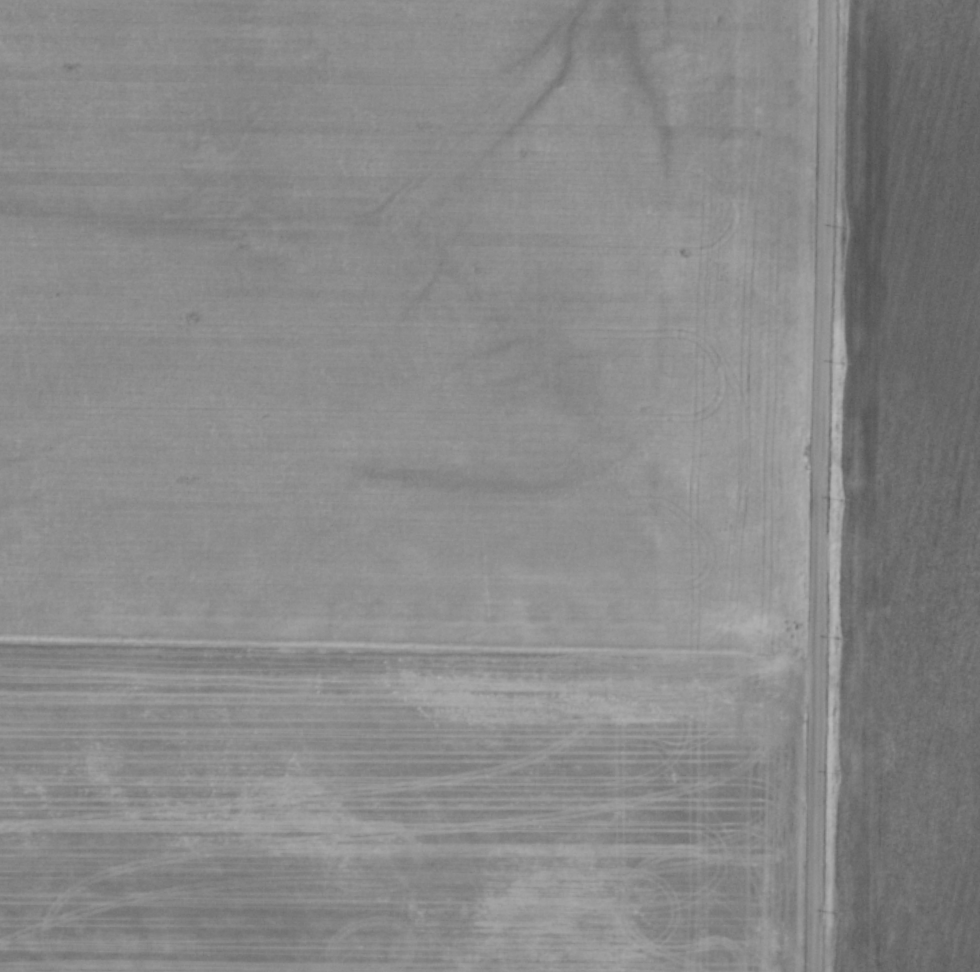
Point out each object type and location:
crop: (400, 485)
road: (821, 485)
crop: (912, 494)

